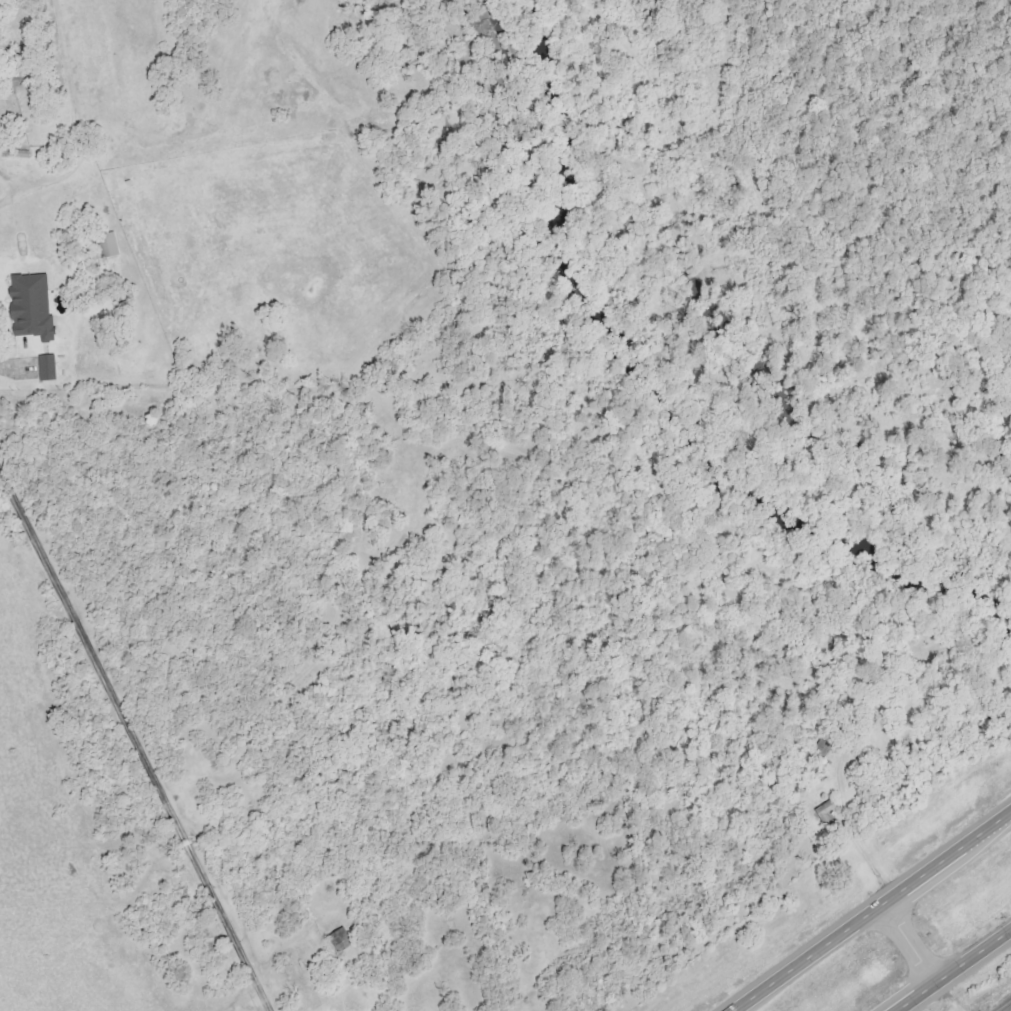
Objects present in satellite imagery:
road: (48, 180)
building: (104, 243)
building: (21, 320)
building: (43, 366)
river: (663, 402)
road: (136, 738)
building: (823, 811)
road: (877, 913)
building: (337, 938)
road: (915, 942)
road: (953, 970)
railway: (1003, 1005)

